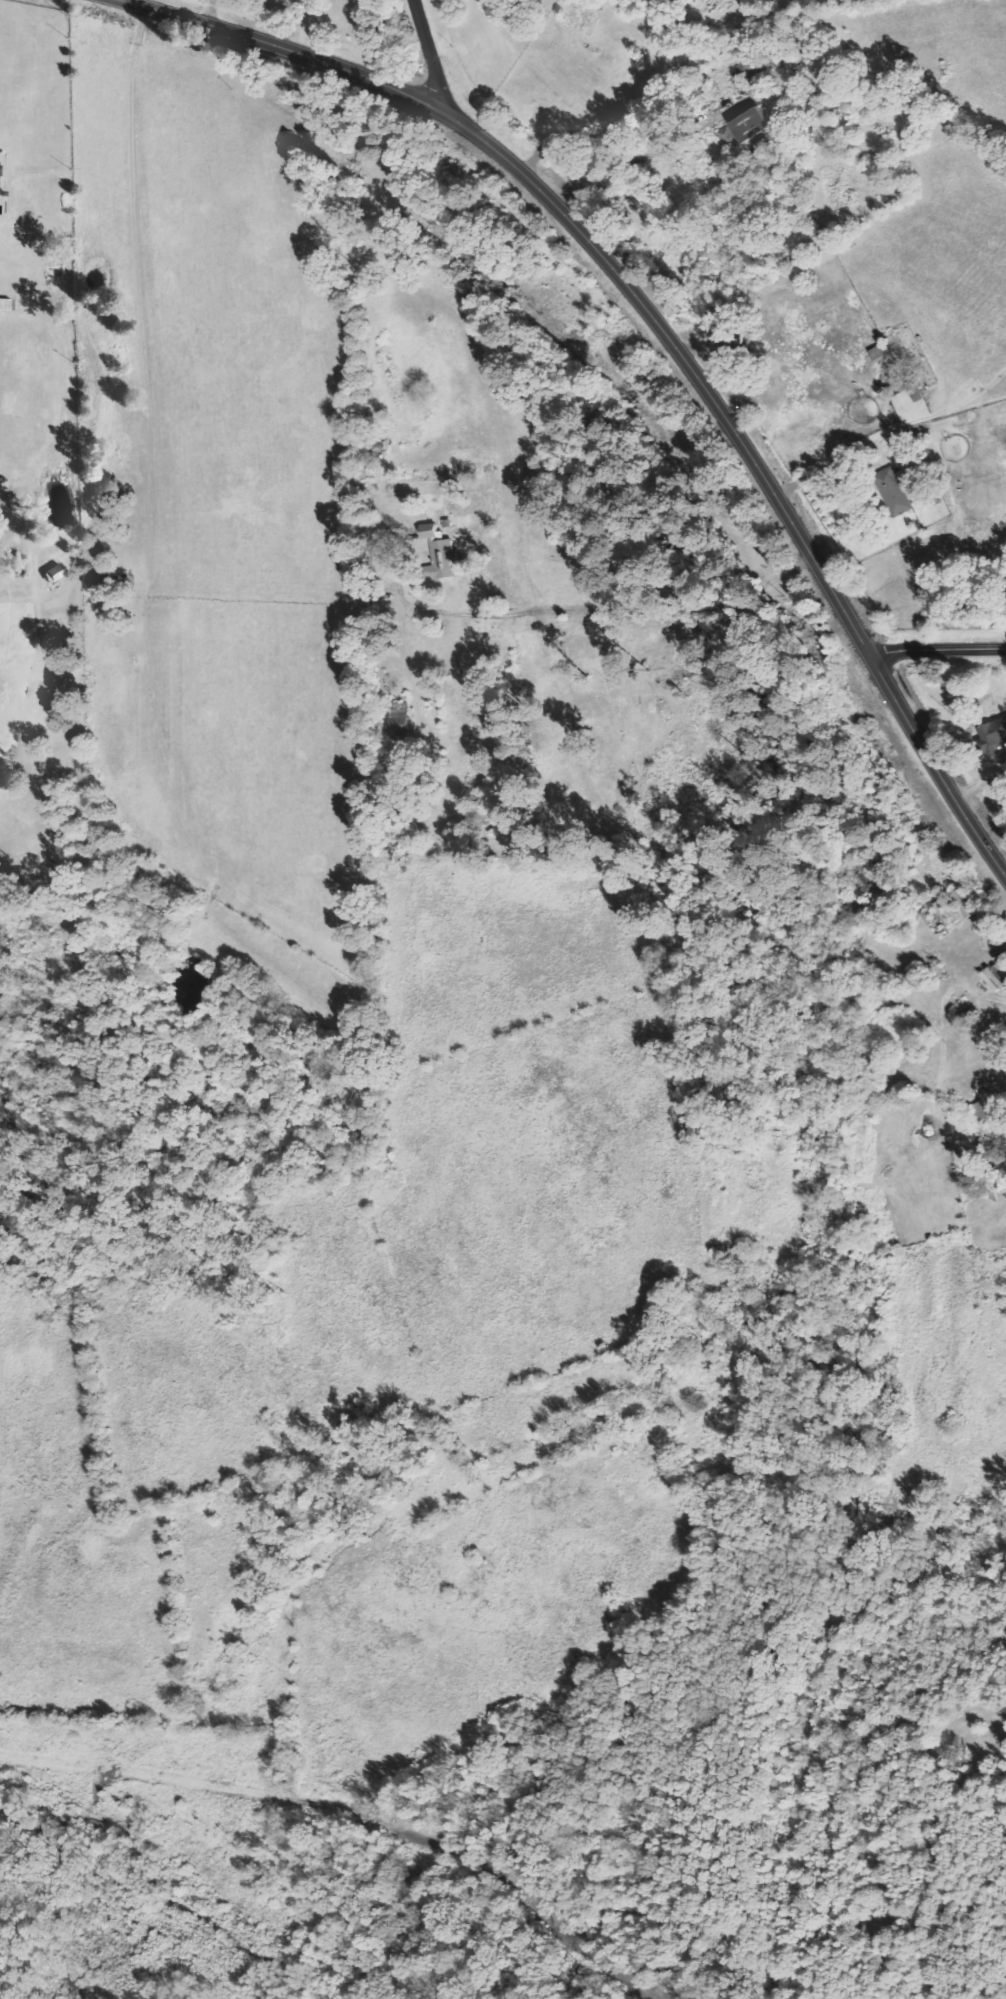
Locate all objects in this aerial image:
road: (430, 52)
building: (747, 125)
road: (662, 332)
building: (892, 491)
building: (429, 531)
building: (442, 560)
building: (93, 580)
road: (937, 649)
building: (993, 734)
building: (994, 977)
building: (986, 1110)

